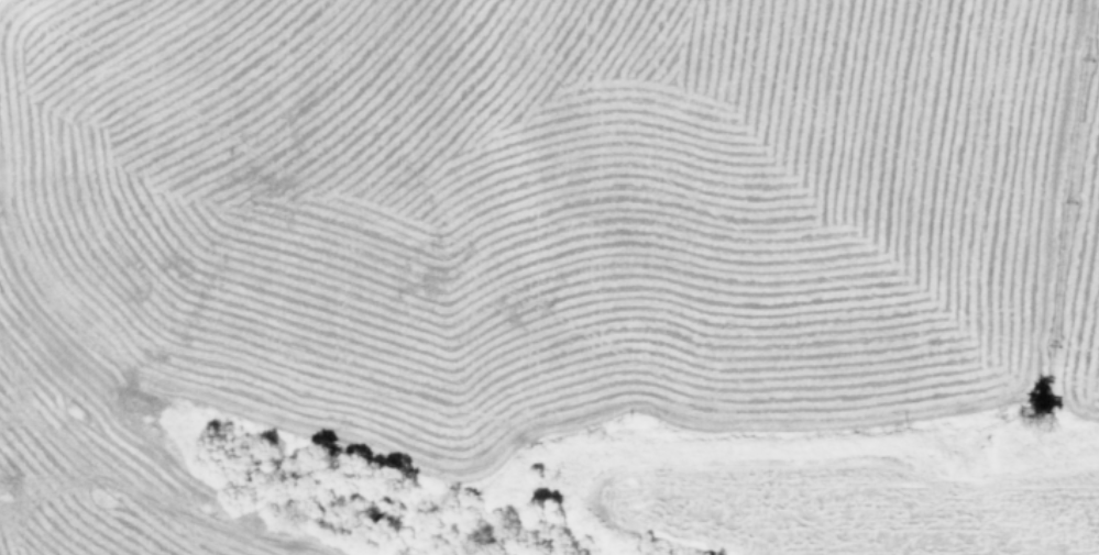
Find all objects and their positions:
crop: (549, 277)

